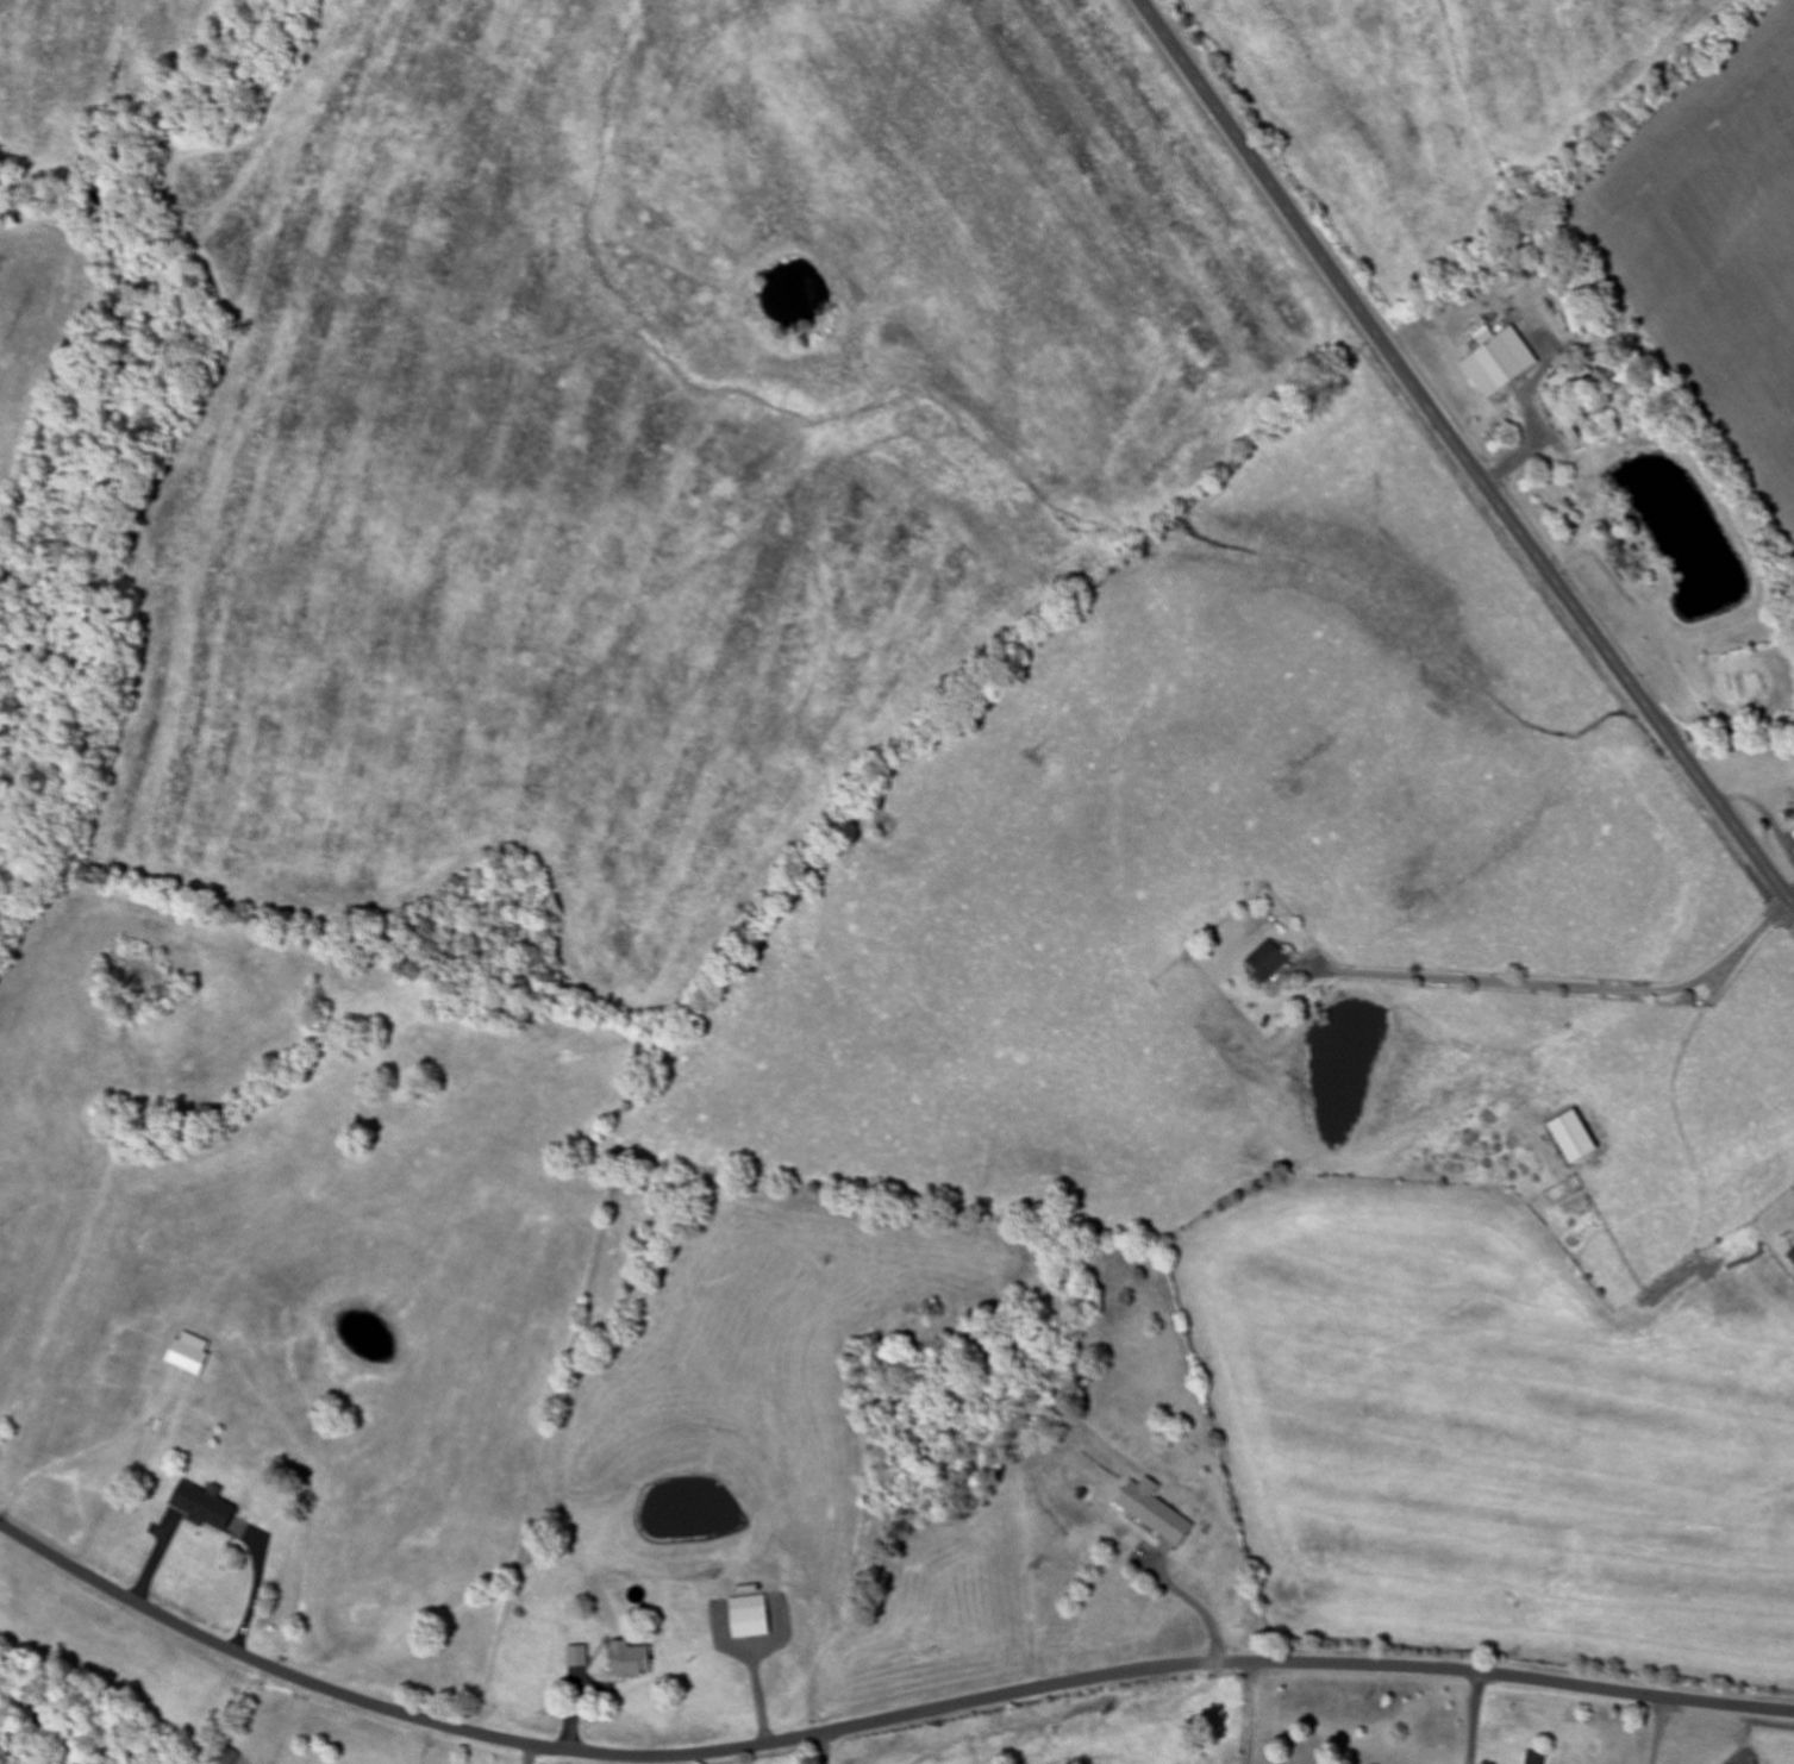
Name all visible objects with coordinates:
building: (1488, 359)
building: (1555, 421)
road: (1463, 453)
building: (1268, 959)
building: (1563, 1137)
building: (188, 1355)
building: (206, 1507)
building: (1155, 1512)
building: (750, 1624)
building: (575, 1657)
building: (632, 1660)
road: (1479, 1718)
road: (875, 1722)
road: (821, 1749)
building: (229, 1757)
building: (1531, 1758)

